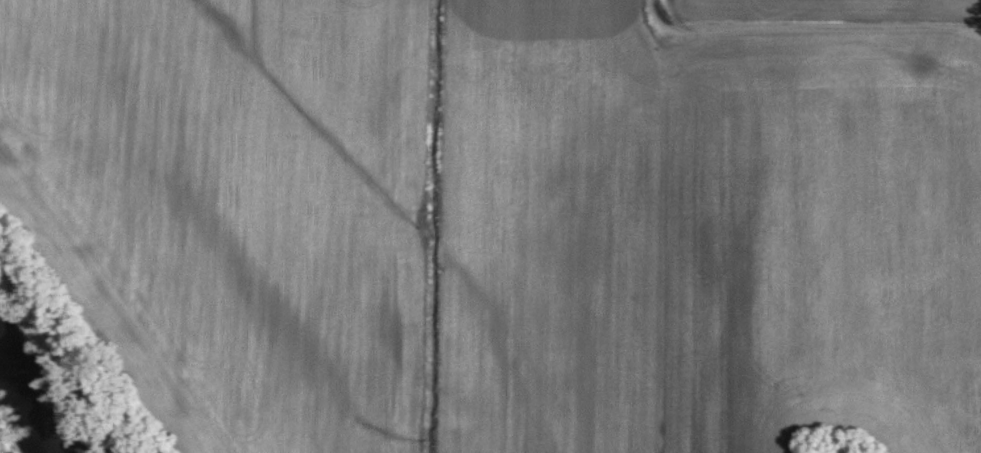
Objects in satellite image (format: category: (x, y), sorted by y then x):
river: (26, 414)

